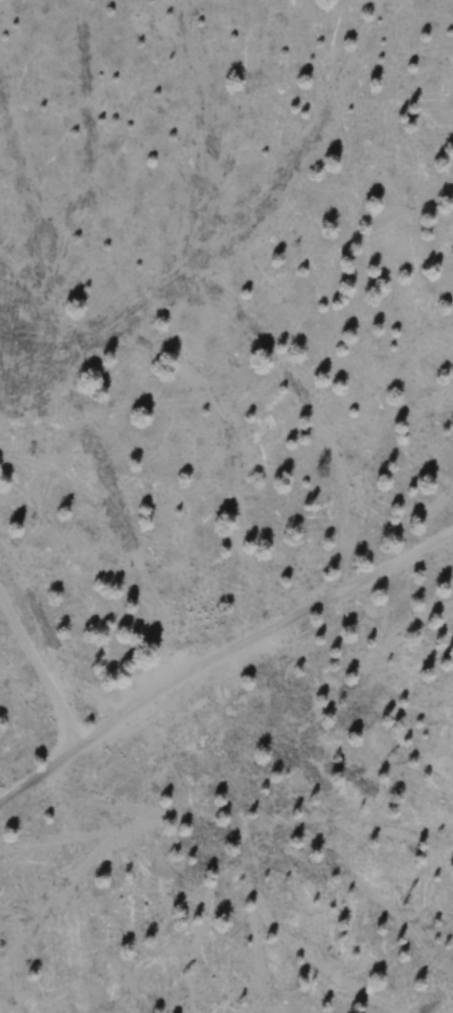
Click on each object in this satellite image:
road: (222, 666)
road: (42, 670)

